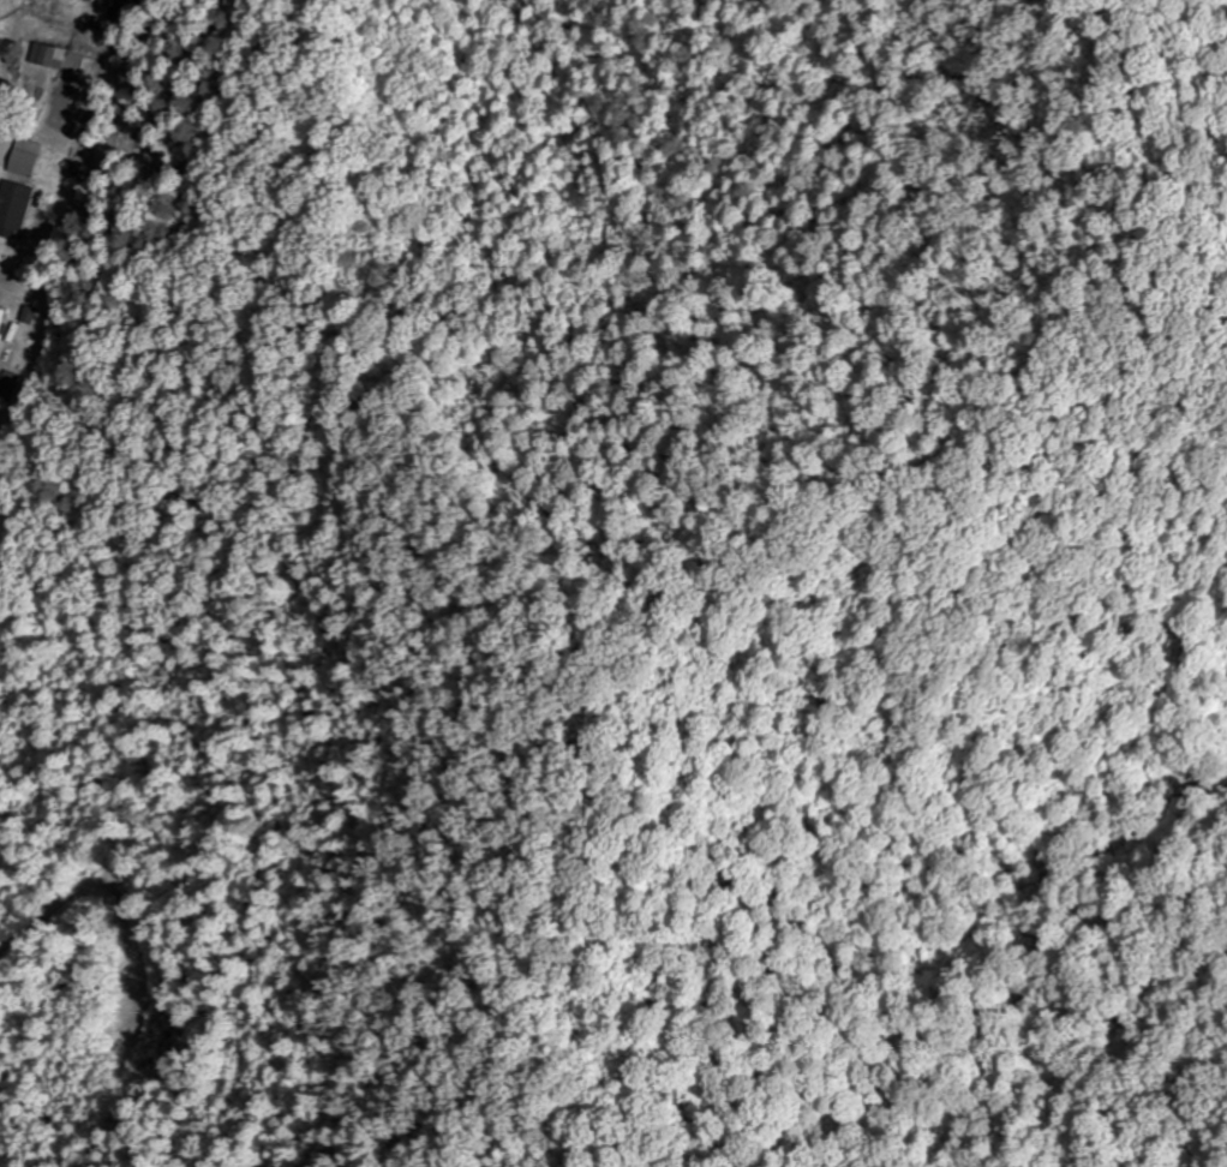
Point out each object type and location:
building: (44, 56)
building: (13, 205)
building: (0, 315)
building: (10, 389)

